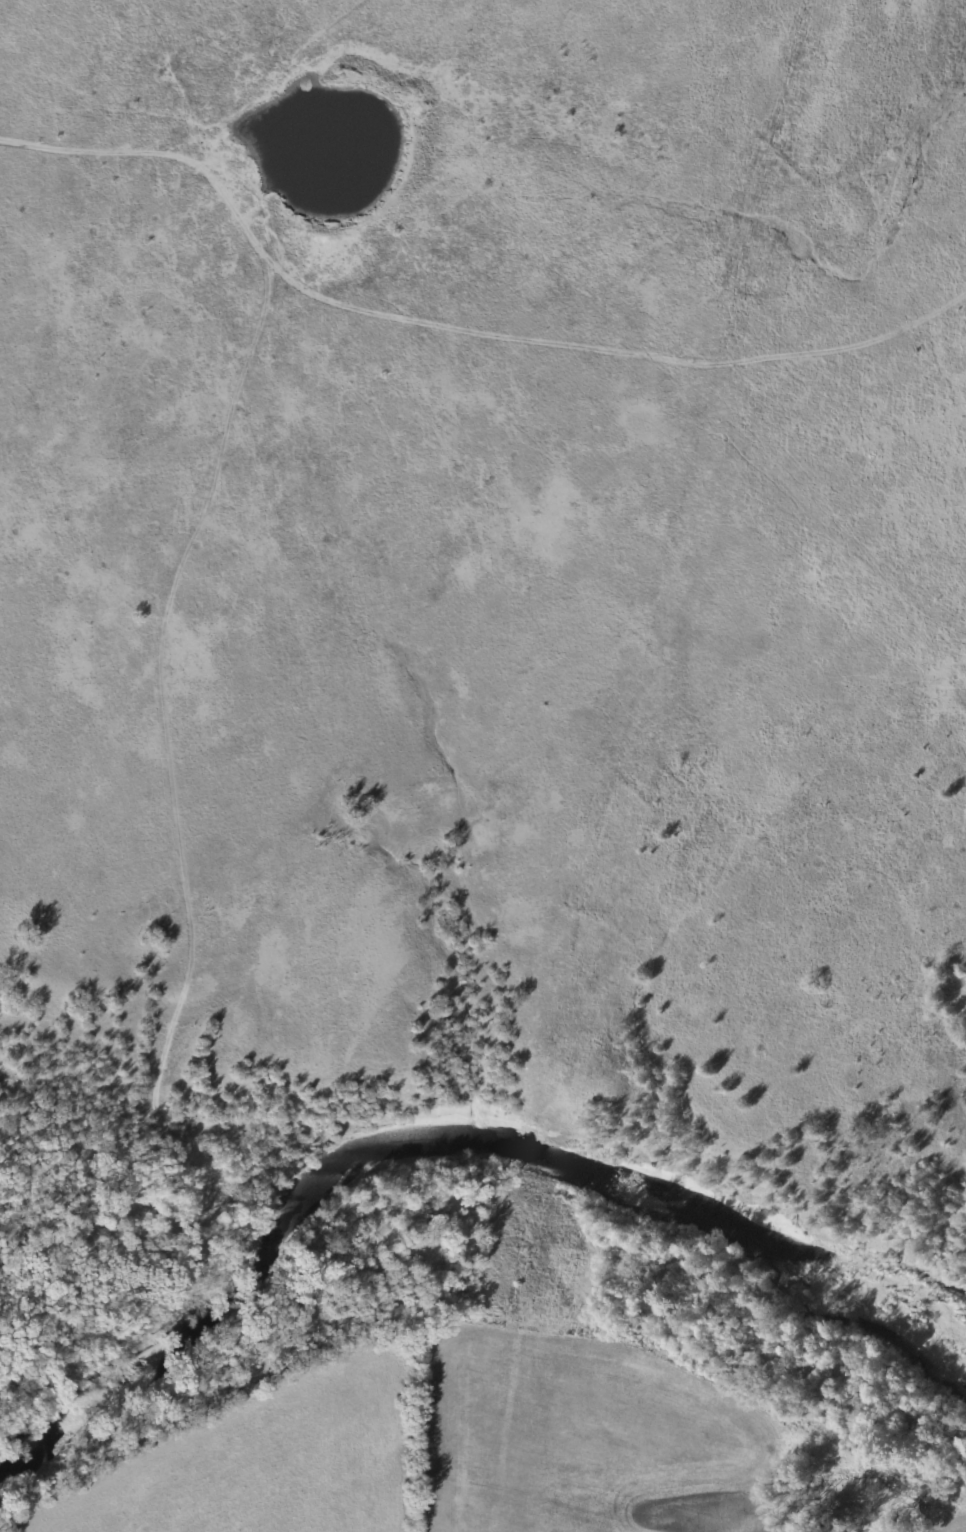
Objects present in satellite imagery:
river: (450, 1141)

